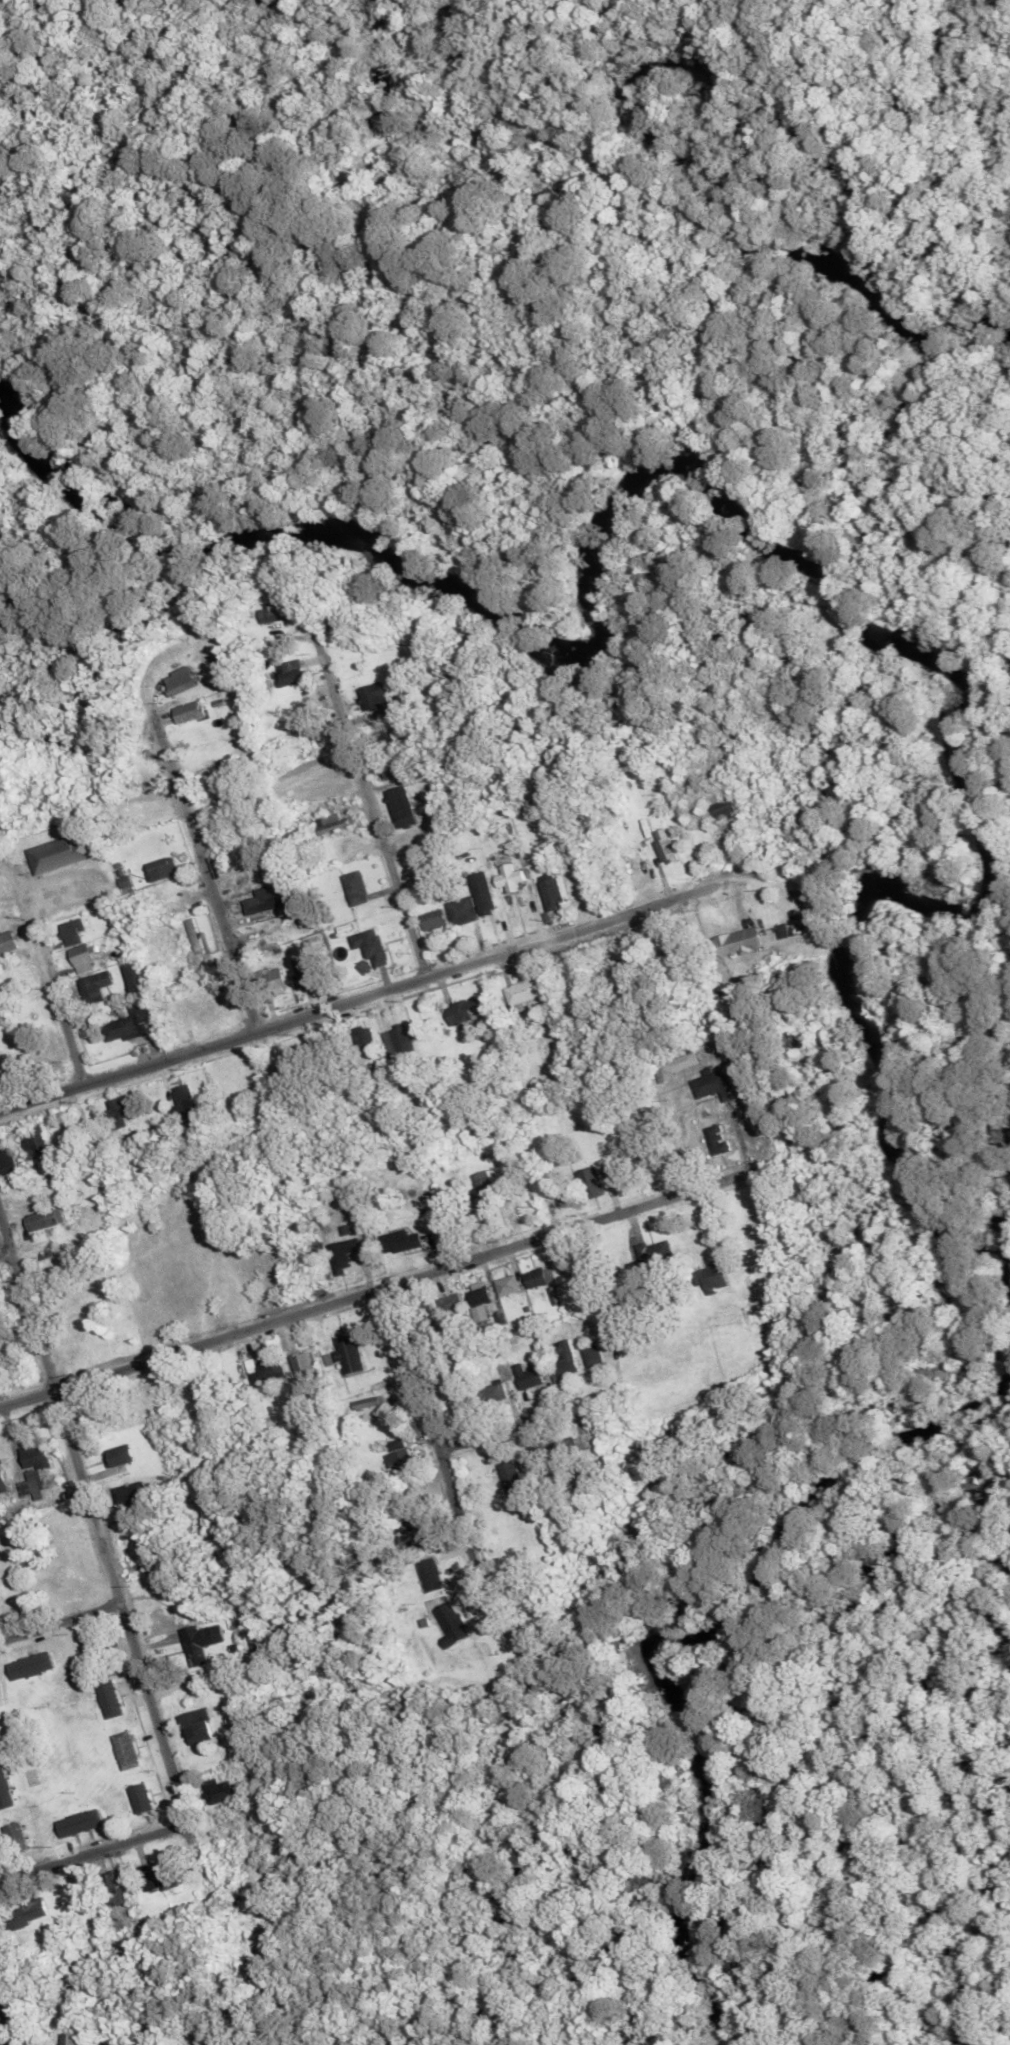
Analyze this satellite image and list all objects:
road: (370, 799)
road: (211, 884)
road: (48, 966)
road: (372, 993)
road: (6, 1250)
road: (366, 1288)
road: (498, 1427)
road: (436, 1429)
road: (98, 1525)
road: (61, 1619)
road: (80, 1851)
road: (6, 2022)

